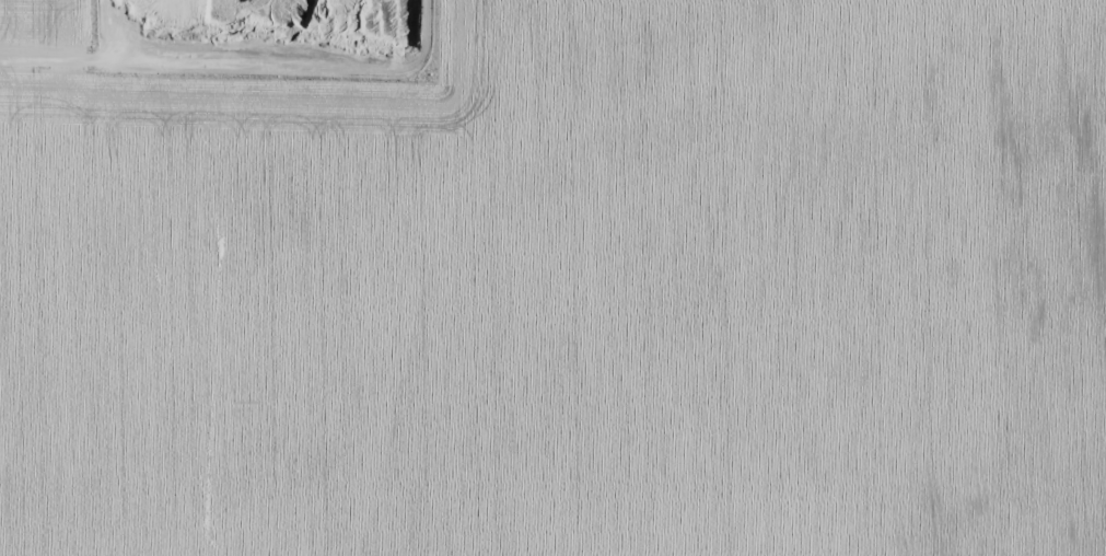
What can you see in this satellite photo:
crop: (552, 278)

